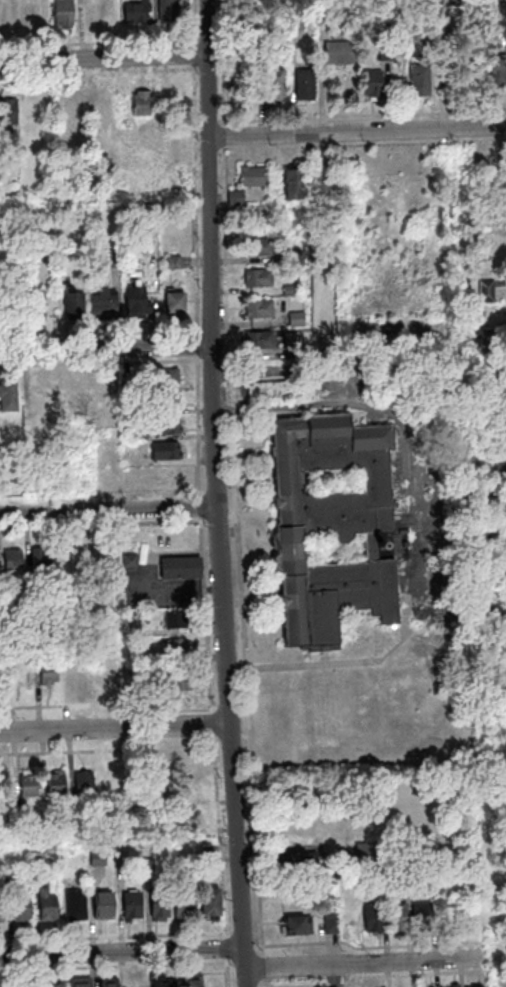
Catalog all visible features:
building: (459, 2)
building: (321, 4)
building: (165, 9)
building: (133, 11)
building: (59, 12)
building: (2, 13)
building: (102, 13)
building: (501, 15)
building: (29, 17)
building: (292, 21)
road: (191, 23)
building: (424, 36)
road: (202, 41)
road: (98, 44)
building: (336, 51)
building: (383, 51)
road: (192, 56)
road: (102, 58)
road: (222, 63)
road: (441, 65)
road: (220, 70)
road: (206, 71)
building: (495, 72)
road: (97, 75)
building: (415, 78)
building: (367, 82)
building: (301, 83)
building: (270, 85)
building: (237, 91)
building: (139, 103)
building: (69, 107)
building: (6, 113)
road: (361, 117)
road: (206, 123)
road: (195, 124)
road: (356, 132)
road: (223, 137)
road: (362, 146)
road: (213, 151)
building: (248, 176)
building: (316, 178)
building: (437, 179)
building: (287, 184)
building: (480, 184)
building: (234, 199)
building: (307, 202)
building: (292, 206)
building: (252, 247)
building: (113, 257)
building: (170, 261)
building: (252, 278)
building: (454, 285)
building: (284, 290)
building: (480, 291)
building: (133, 301)
building: (171, 301)
building: (100, 303)
building: (71, 304)
building: (32, 306)
building: (252, 309)
building: (472, 311)
building: (505, 316)
building: (290, 319)
road: (104, 334)
building: (483, 337)
building: (254, 340)
road: (105, 349)
building: (292, 350)
road: (104, 364)
building: (160, 377)
building: (275, 390)
building: (6, 395)
building: (41, 396)
building: (162, 399)
building: (101, 405)
building: (127, 406)
building: (161, 425)
building: (161, 450)
building: (495, 472)
road: (214, 493)
building: (486, 504)
road: (107, 511)
road: (99, 523)
road: (198, 526)
building: (332, 526)
building: (488, 540)
building: (38, 557)
building: (97, 558)
building: (10, 559)
building: (127, 560)
building: (177, 567)
road: (237, 567)
building: (4, 593)
building: (488, 612)
building: (172, 618)
building: (131, 628)
building: (36, 635)
building: (174, 647)
building: (133, 658)
building: (104, 672)
building: (45, 673)
building: (136, 673)
building: (73, 674)
building: (176, 681)
road: (105, 703)
road: (113, 727)
road: (106, 750)
building: (176, 763)
building: (147, 769)
building: (108, 778)
building: (81, 782)
building: (4, 783)
building: (54, 783)
building: (26, 785)
building: (184, 818)
building: (206, 855)
building: (361, 855)
building: (94, 858)
building: (32, 859)
building: (293, 863)
building: (145, 864)
building: (423, 881)
building: (397, 882)
building: (207, 901)
building: (156, 903)
building: (44, 904)
building: (73, 904)
building: (98, 904)
building: (129, 904)
building: (180, 905)
building: (18, 908)
building: (416, 917)
building: (392, 918)
building: (367, 919)
building: (325, 924)
building: (290, 926)
road: (120, 950)
road: (360, 962)
building: (189, 980)
building: (158, 981)
building: (76, 982)
building: (105, 982)
building: (50, 983)
building: (451, 985)
building: (475, 985)
building: (427, 986)

